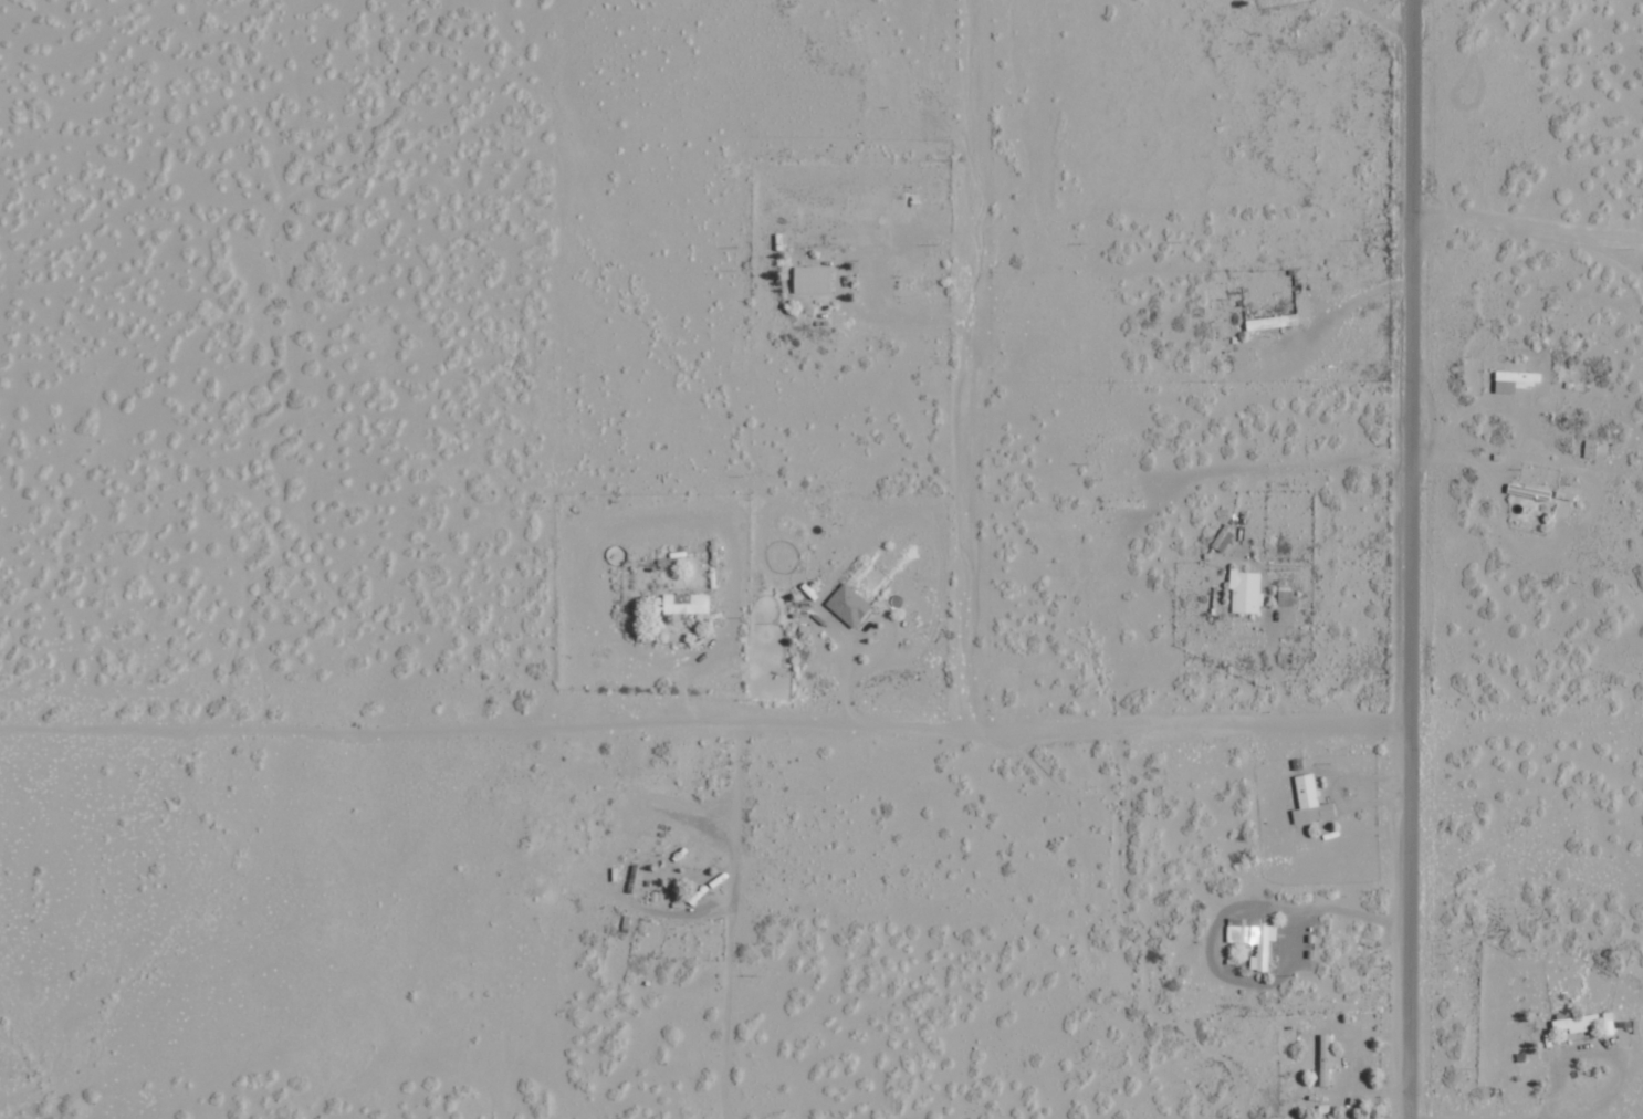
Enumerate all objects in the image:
road: (1527, 229)
building: (813, 279)
building: (1272, 322)
road: (967, 360)
building: (1519, 378)
building: (1590, 448)
road: (1406, 558)
building: (1247, 592)
building: (687, 603)
building: (849, 604)
road: (702, 719)
building: (1310, 801)
road: (733, 919)
building: (1253, 939)

